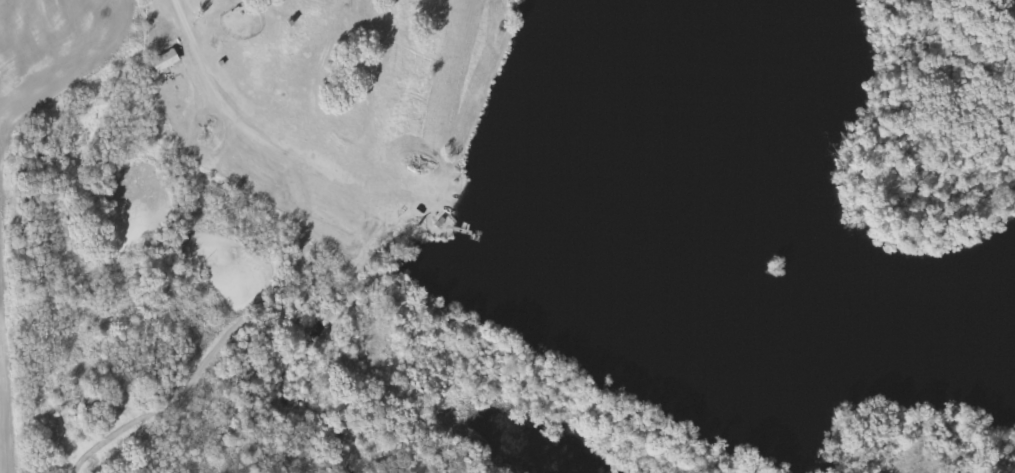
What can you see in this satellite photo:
building: (163, 62)
dam: (572, 382)

